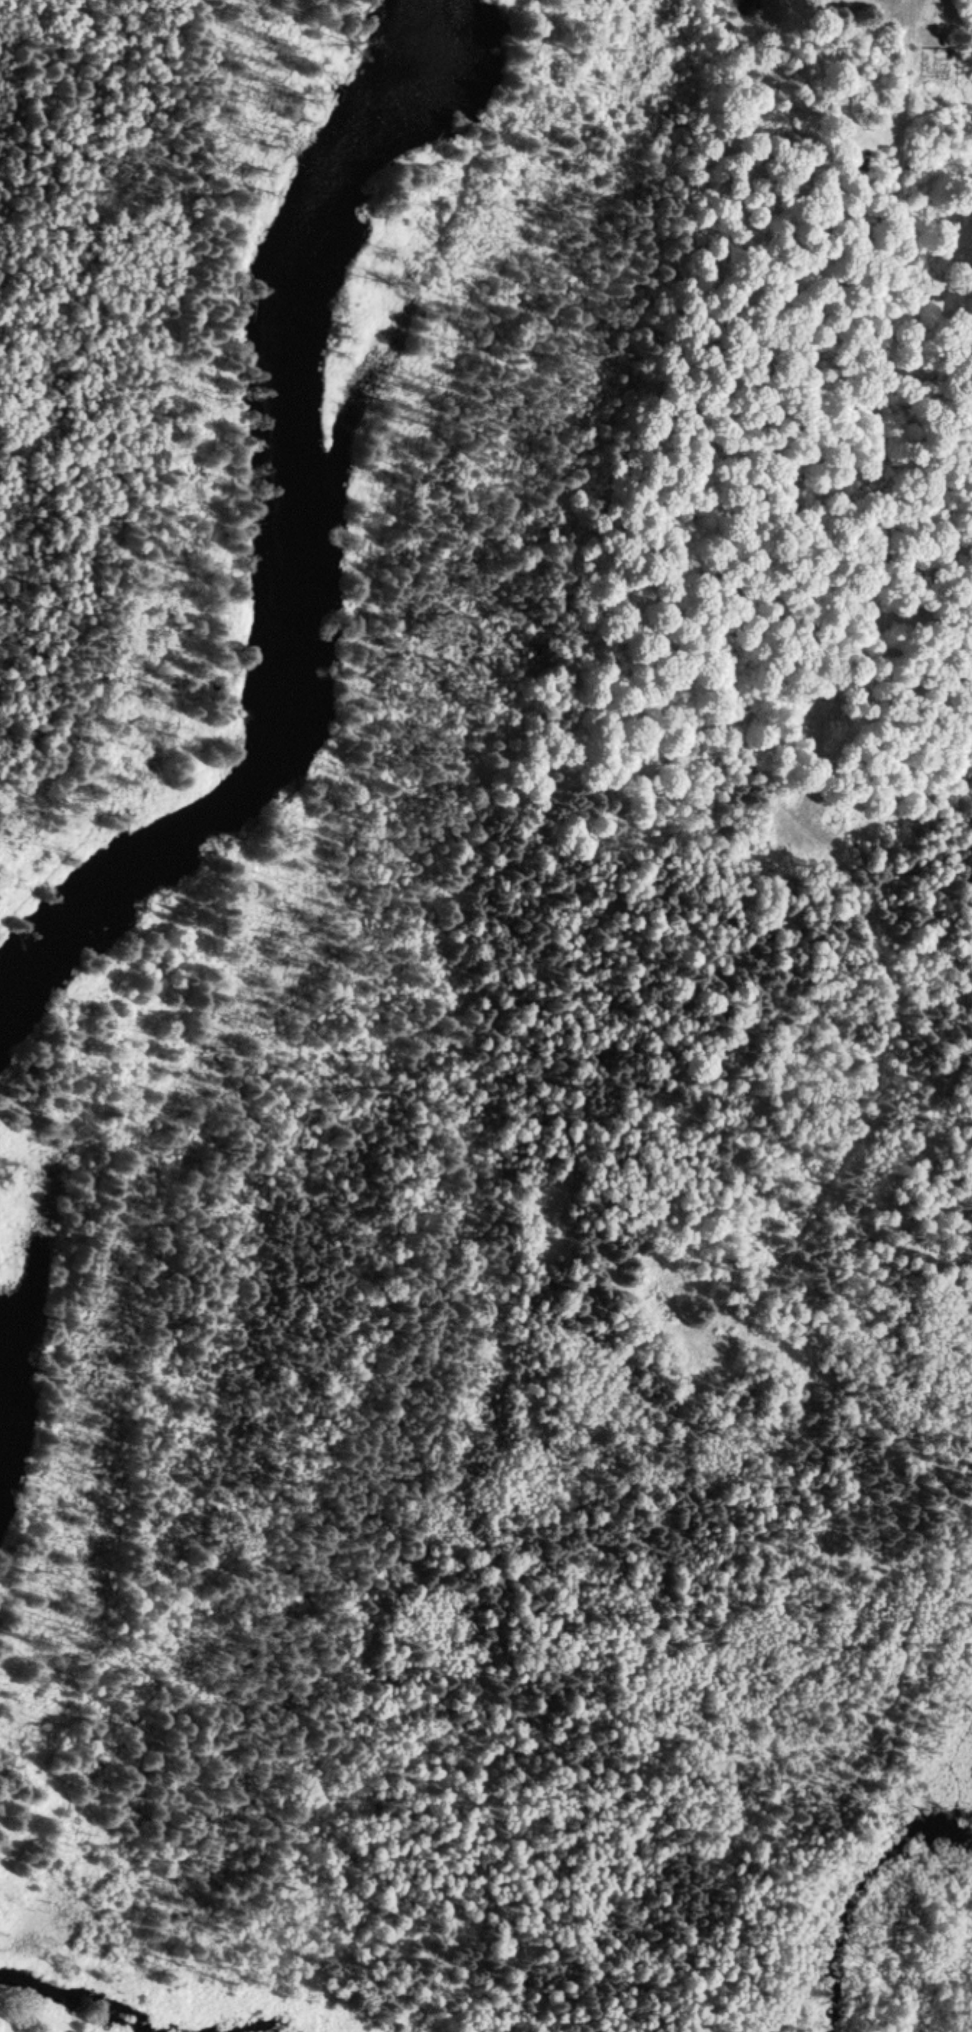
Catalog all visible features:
river: (305, 542)
river: (15, 1370)

